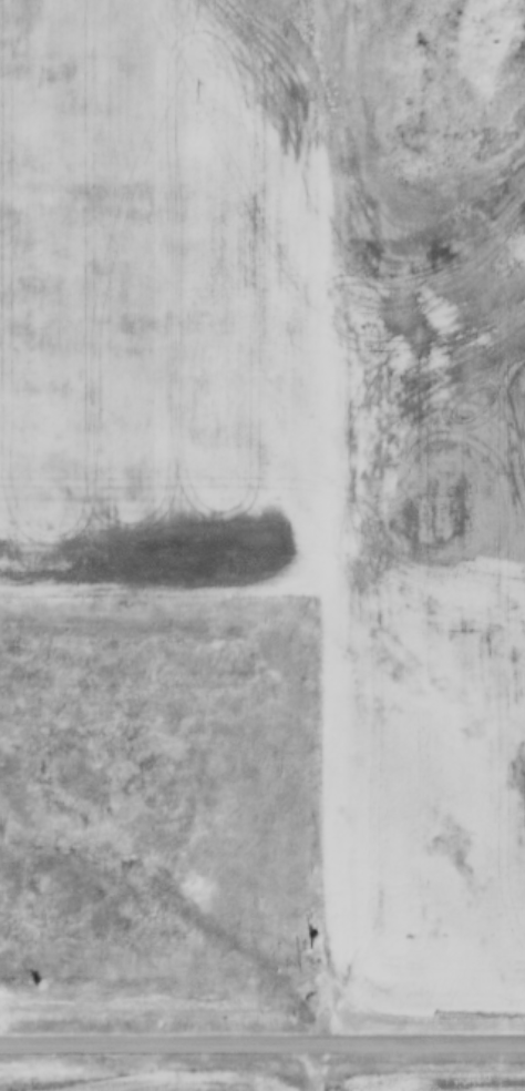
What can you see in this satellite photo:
road: (262, 1039)

